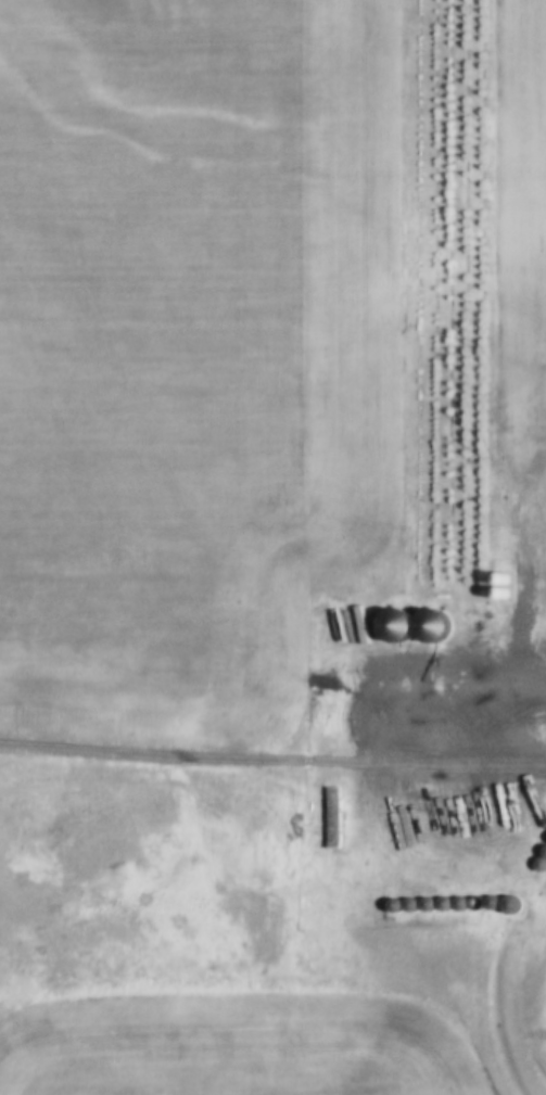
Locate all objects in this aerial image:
building: (508, 589)
building: (402, 627)
building: (440, 628)
road: (272, 764)
building: (542, 866)

